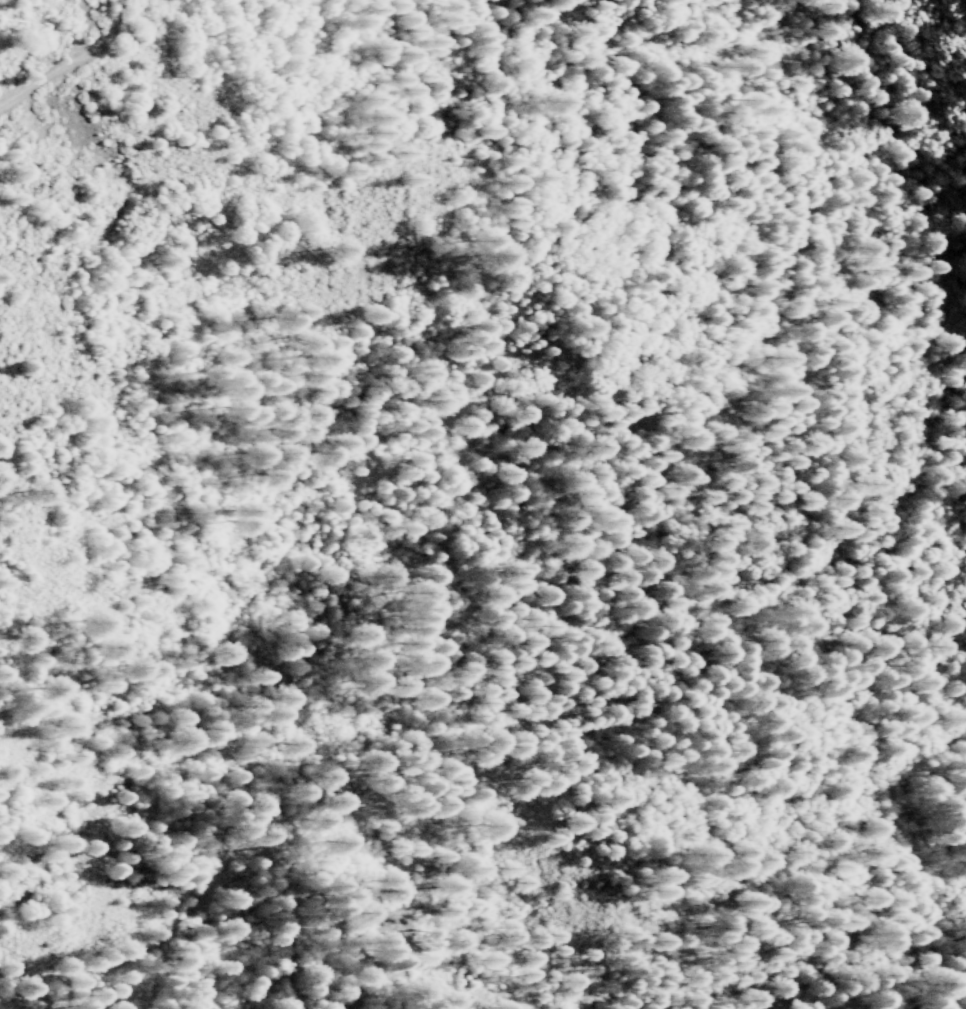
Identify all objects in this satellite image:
road: (76, 65)
road: (843, 366)
road: (388, 448)
road: (265, 937)
road: (115, 963)
road: (17, 991)

